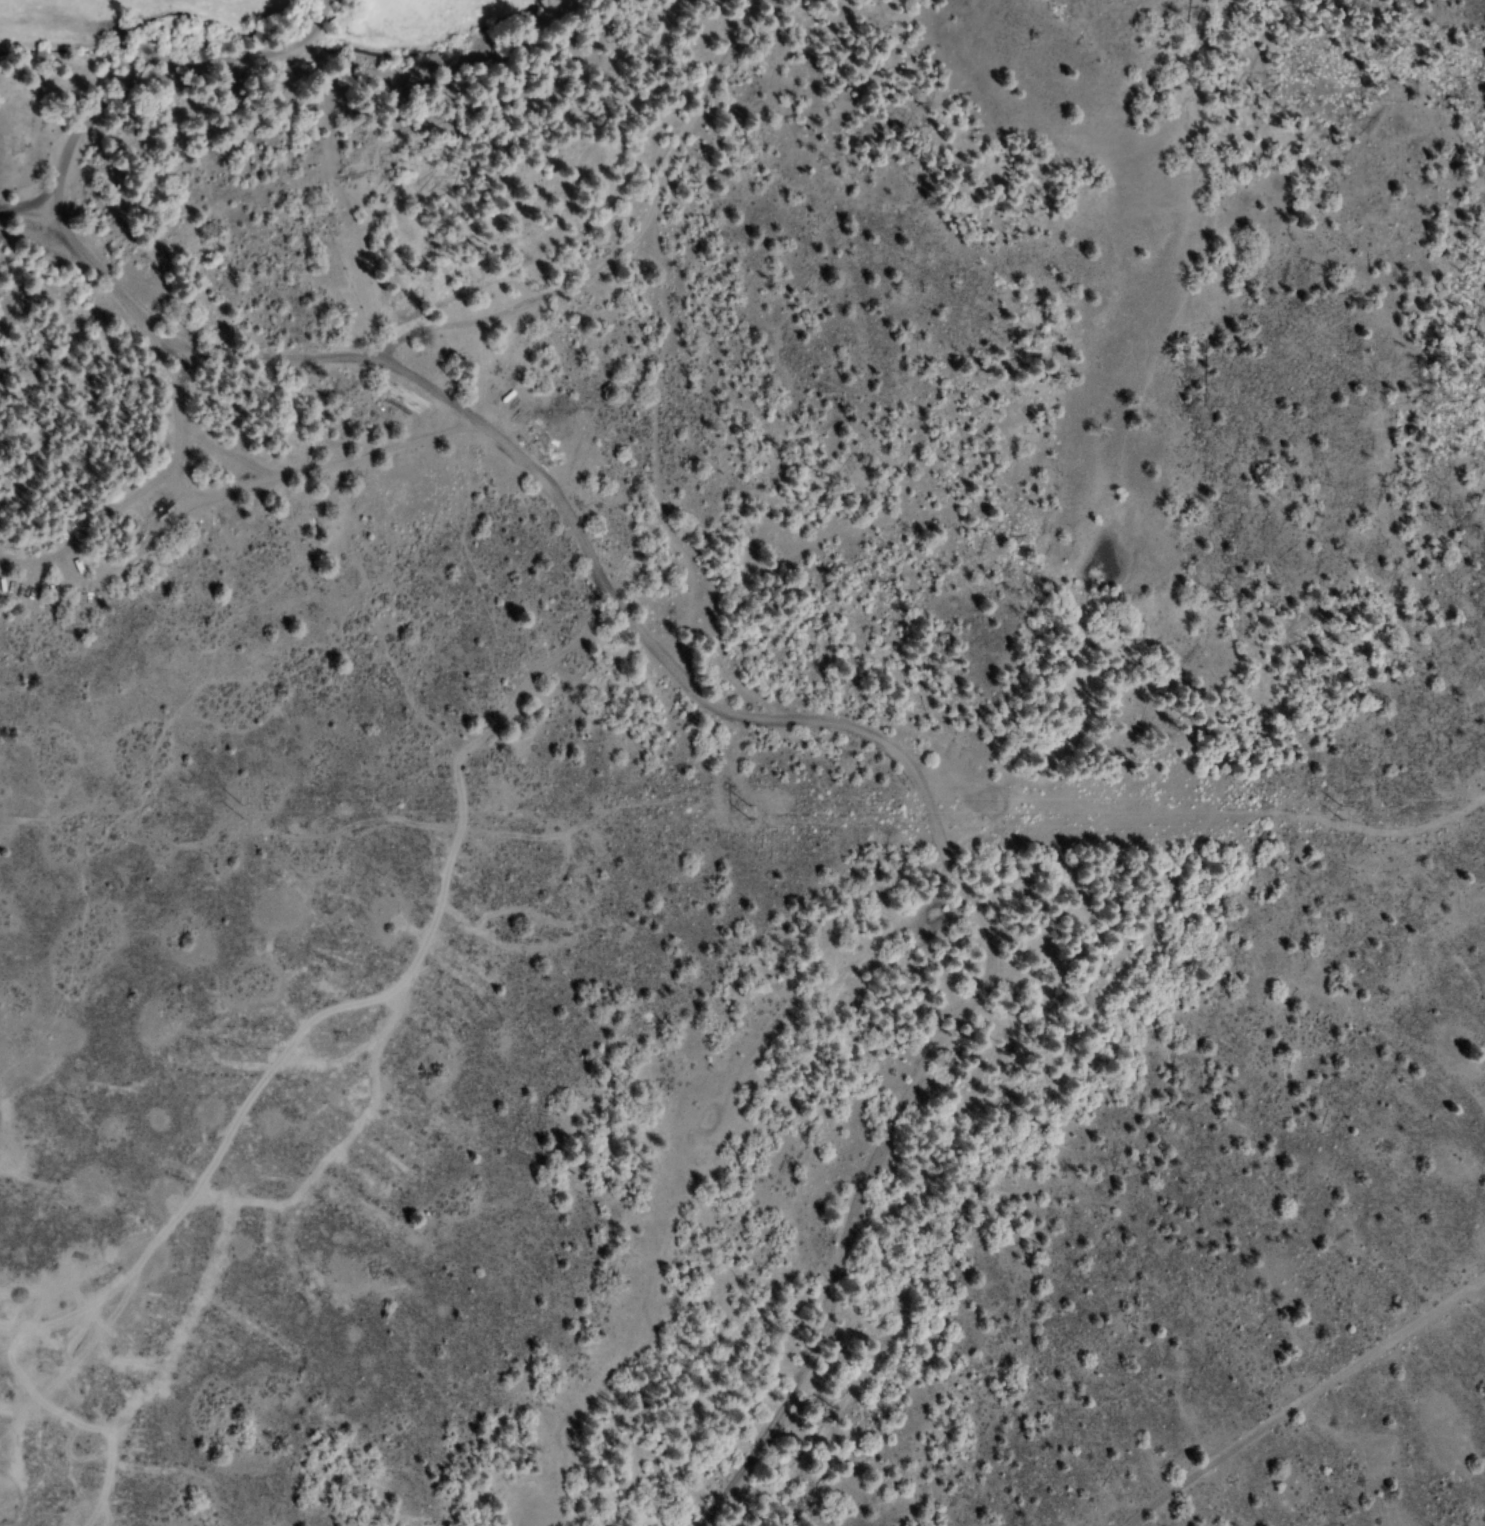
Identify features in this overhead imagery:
road: (795, 232)
road: (268, 260)
road: (860, 773)
power tower: (239, 807)
power tower: (1340, 807)
power tower: (739, 809)

